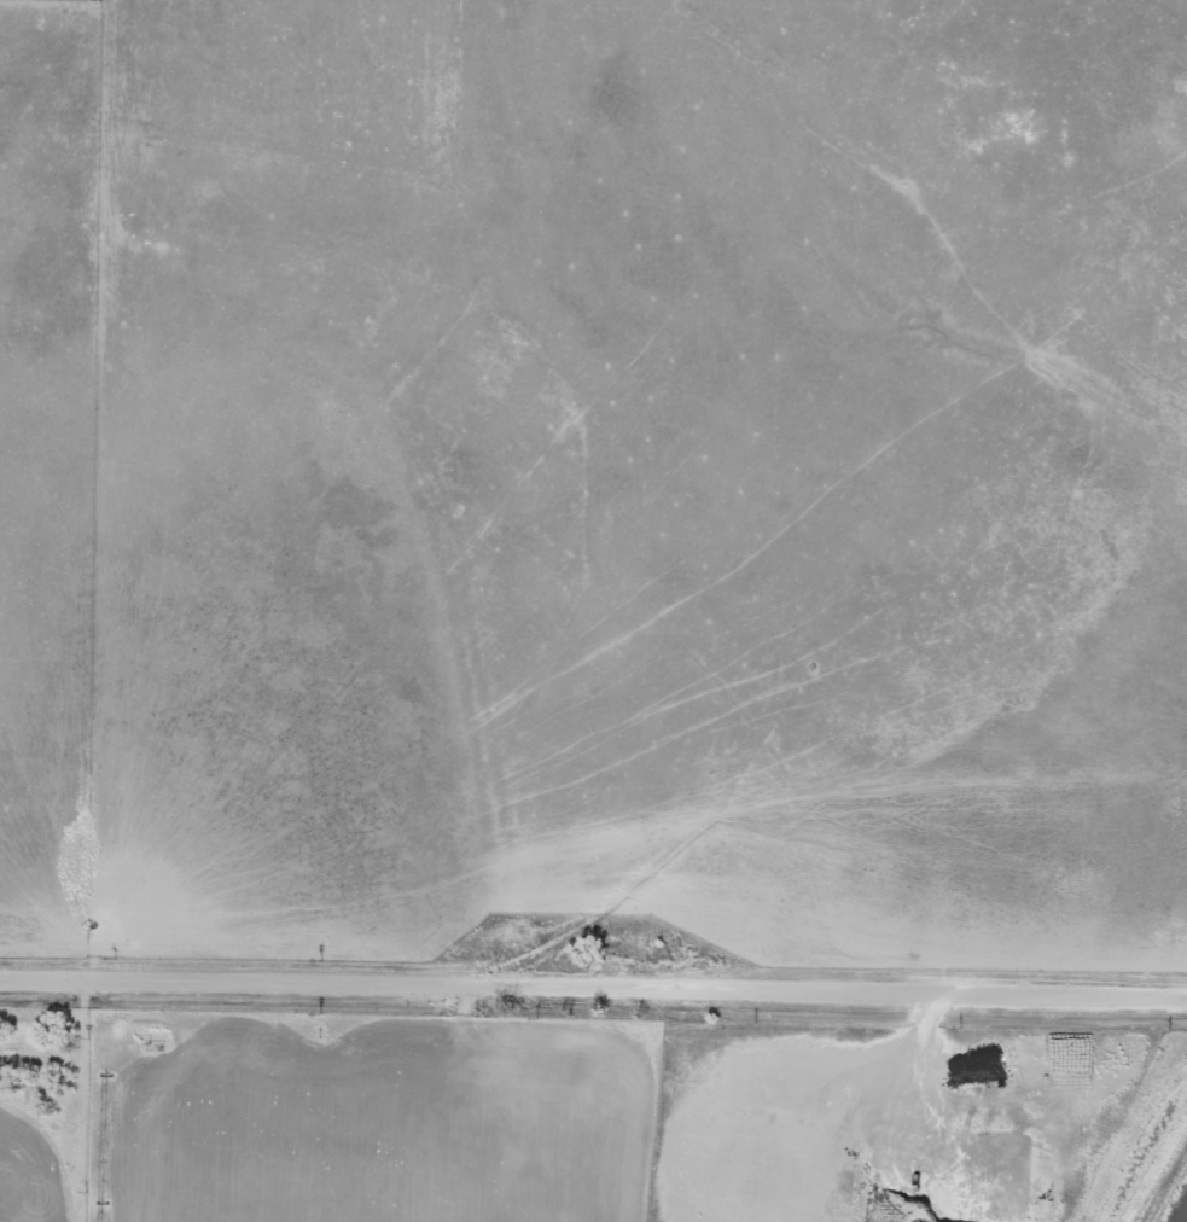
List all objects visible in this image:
road: (593, 985)

